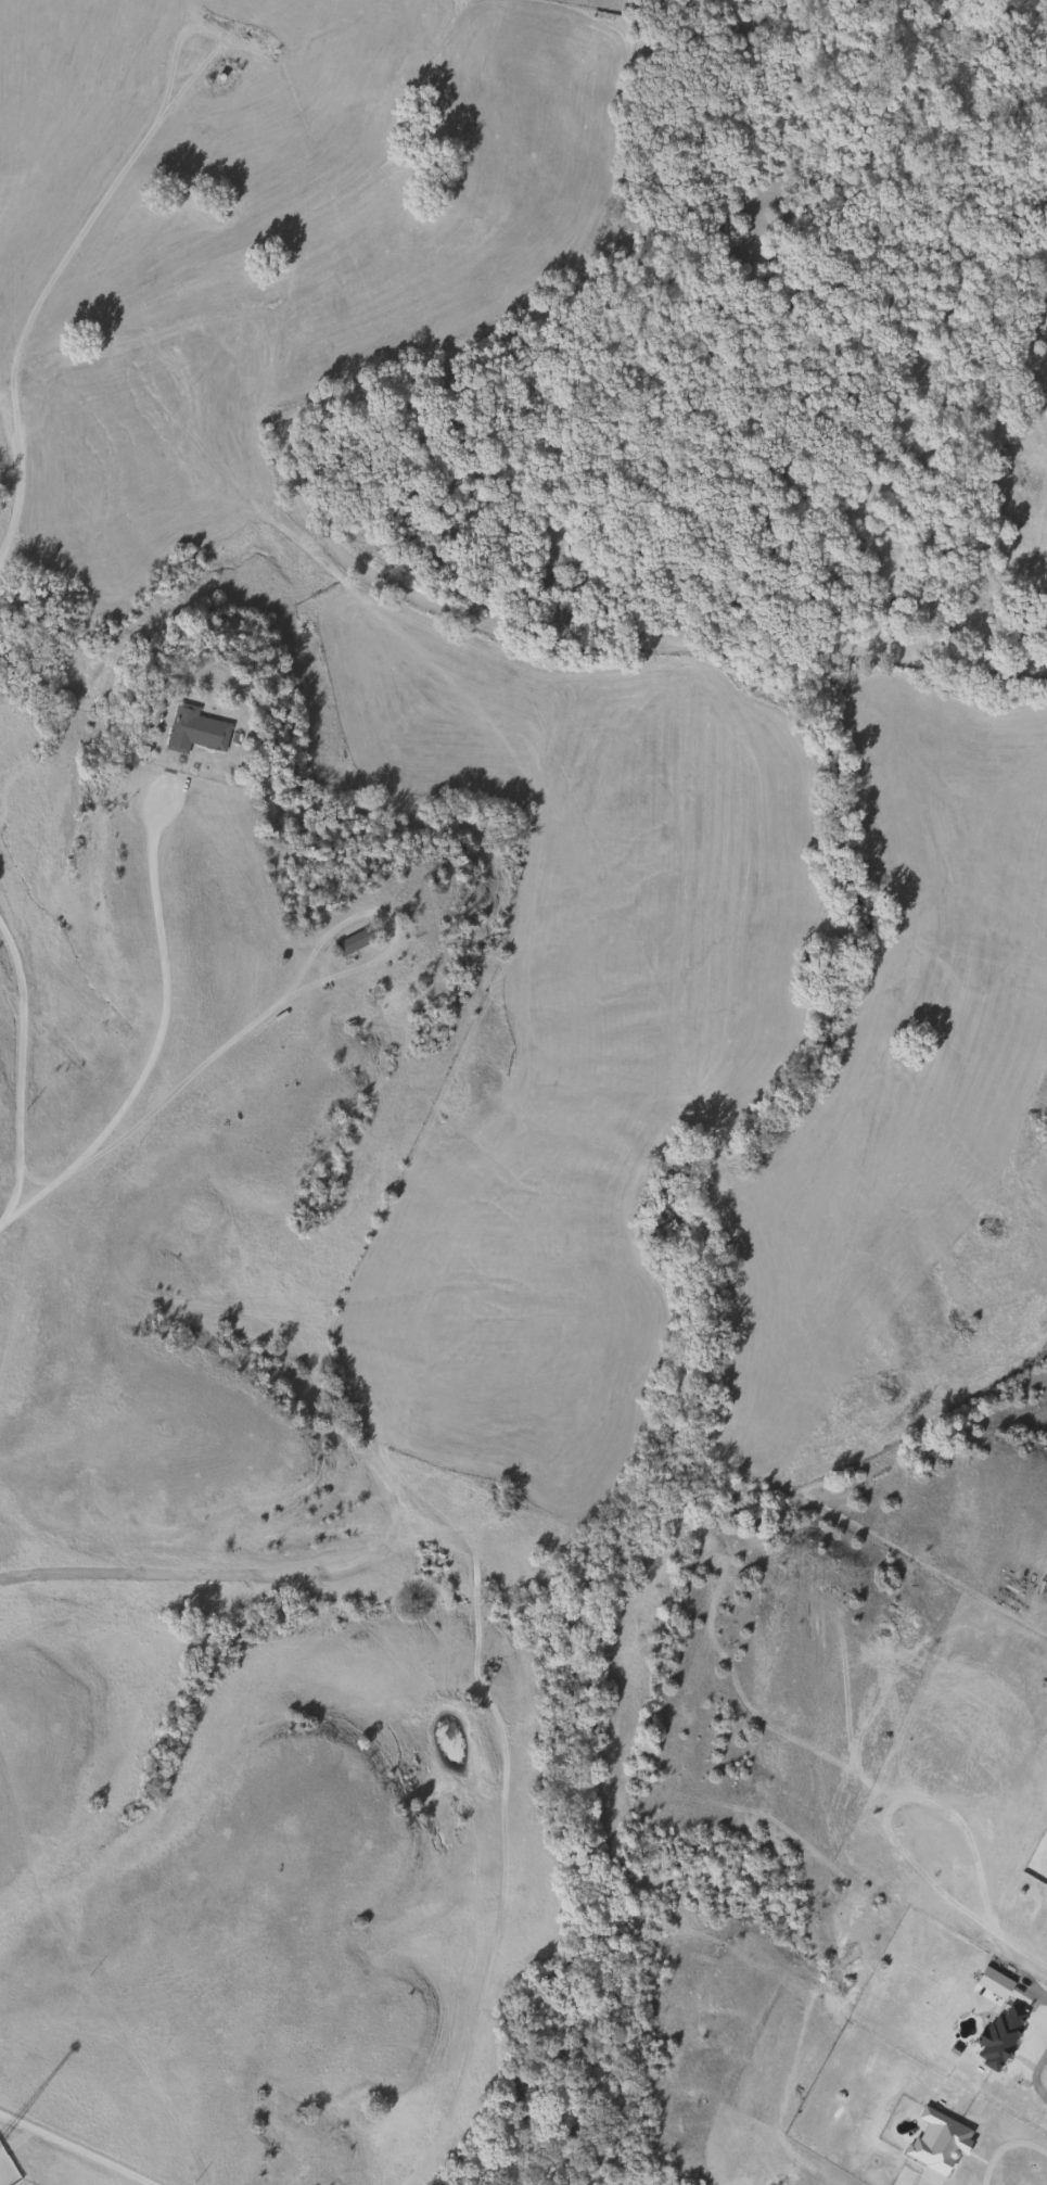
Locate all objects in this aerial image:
building: (194, 732)
building: (352, 944)
road: (157, 1043)
road: (1036, 1995)
road: (1031, 2076)
road: (1004, 2147)
road: (72, 2150)
building: (5, 2172)

